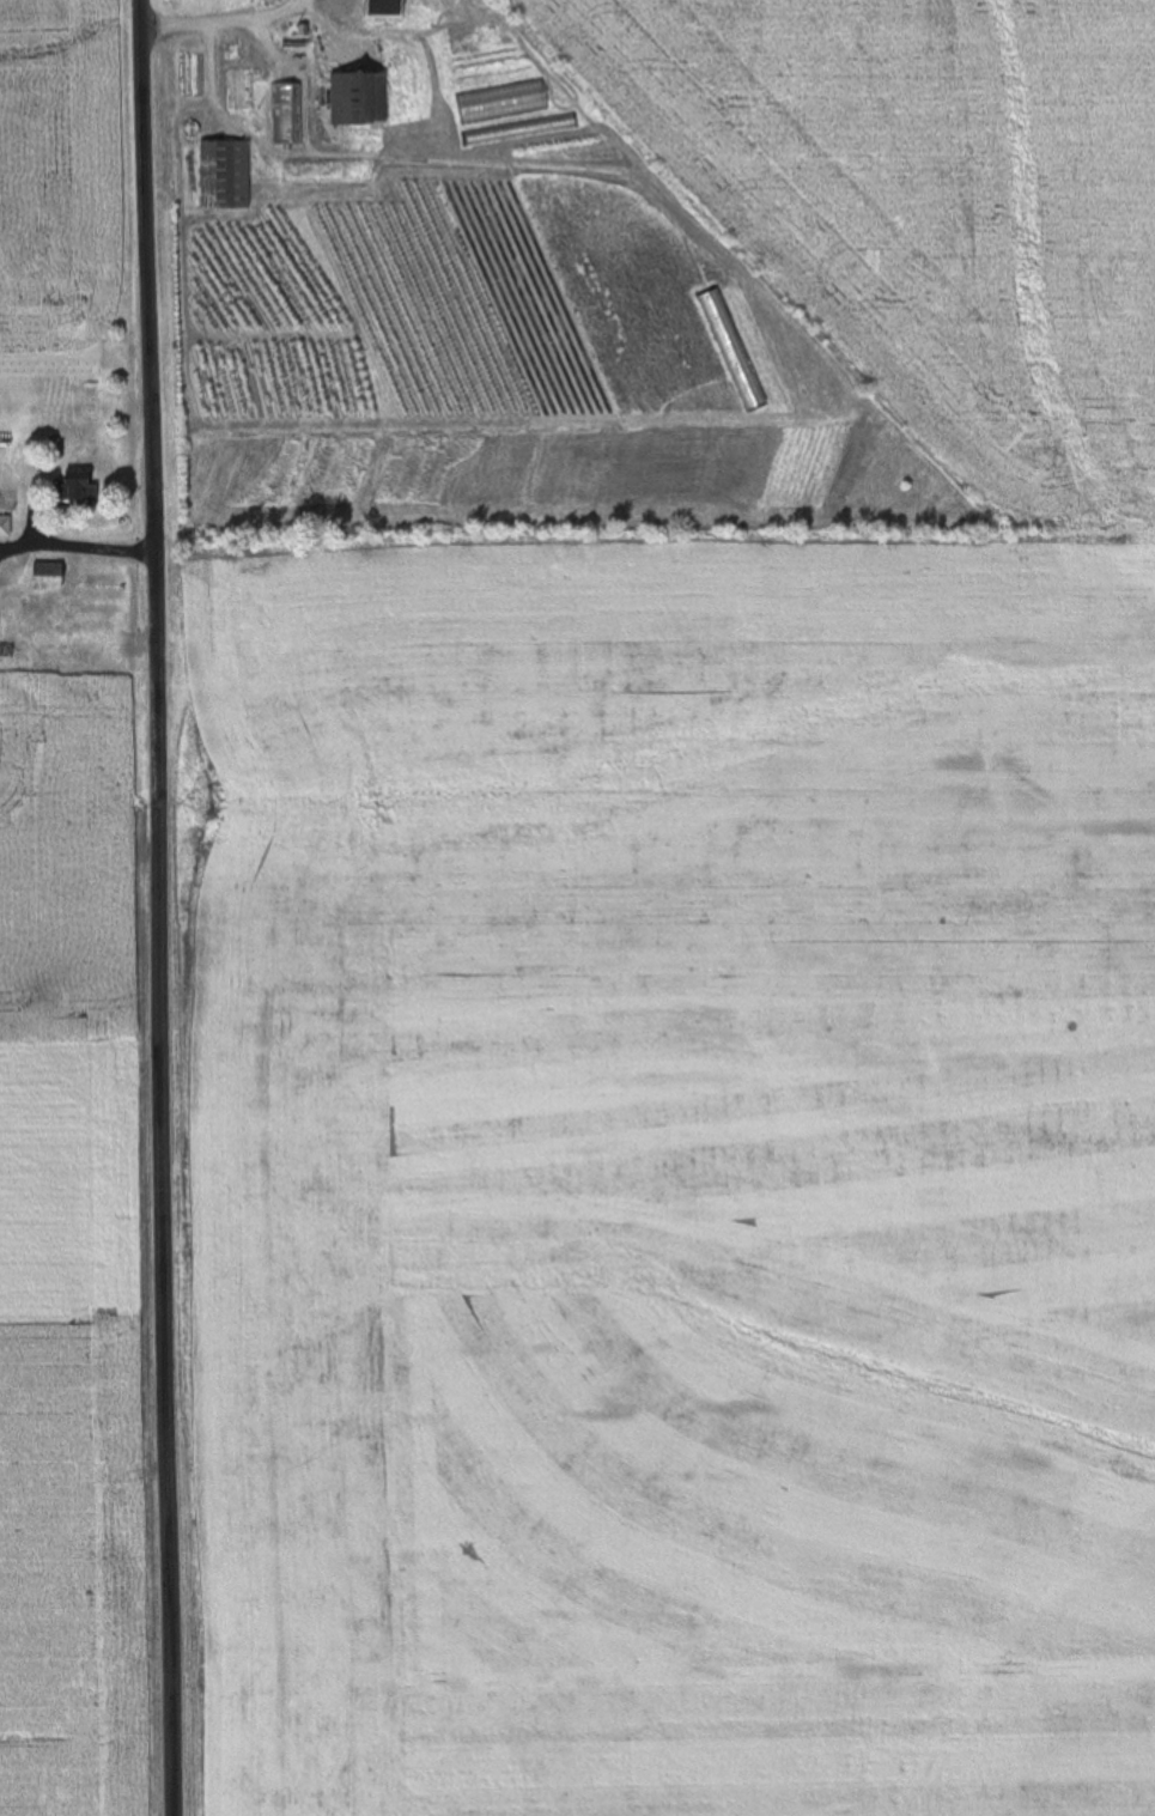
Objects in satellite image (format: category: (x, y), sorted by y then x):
road: (214, 19)
road: (202, 74)
building: (243, 89)
building: (358, 99)
building: (274, 104)
building: (224, 176)
building: (421, 218)
building: (77, 490)
building: (7, 500)
building: (5, 527)
road: (74, 548)
building: (48, 578)
building: (78, 638)
road: (157, 907)

